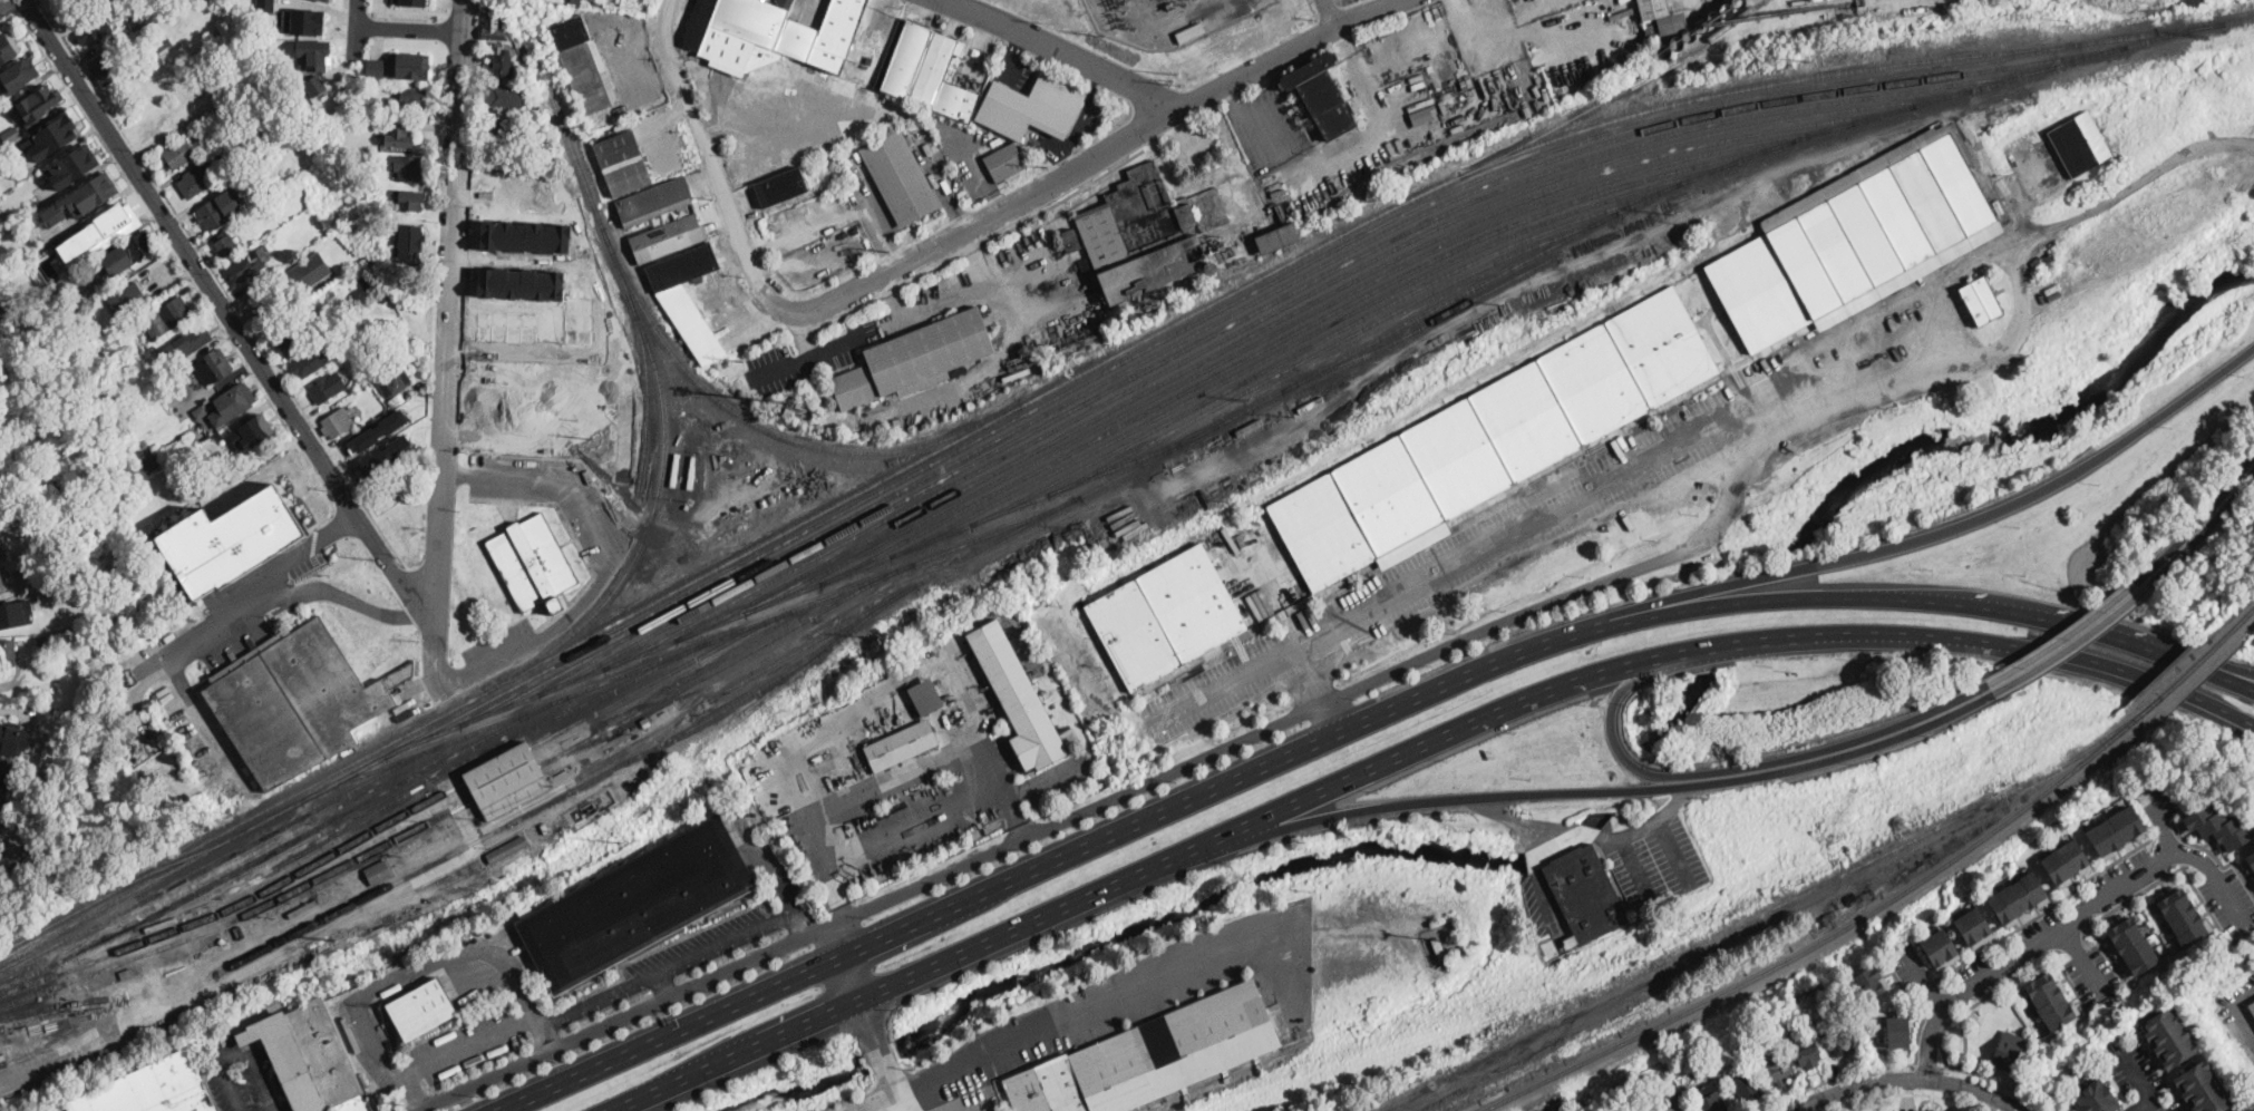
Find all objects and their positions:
road: (38, 0)
building: (328, 0)
building: (101, 1)
building: (411, 1)
building: (576, 1)
building: (600, 1)
building: (784, 3)
road: (8, 4)
building: (265, 4)
road: (14, 6)
road: (28, 7)
building: (89, 10)
road: (1313, 10)
building: (1856, 11)
road: (1332, 12)
road: (401, 13)
building: (80, 14)
road: (9, 19)
building: (138, 20)
building: (303, 21)
building: (698, 22)
building: (1678, 22)
building: (494, 27)
road: (354, 28)
road: (410, 28)
building: (95, 30)
building: (1189, 32)
building: (836, 33)
building: (742, 35)
building: (796, 38)
building: (166, 43)
building: (7, 49)
building: (314, 53)
road: (1011, 55)
building: (906, 58)
building: (502, 62)
building: (198, 64)
building: (409, 65)
building: (109, 66)
building: (584, 66)
building: (377, 67)
building: (934, 67)
building: (18, 74)
building: (315, 84)
building: (372, 86)
building: (348, 88)
railway: (1623, 92)
building: (275, 95)
building: (1321, 95)
building: (503, 97)
building: (410, 99)
building: (956, 100)
building: (39, 103)
building: (1031, 106)
road: (1170, 107)
building: (304, 113)
building: (346, 118)
road: (1241, 119)
road: (1379, 121)
building: (235, 127)
building: (290, 128)
building: (502, 130)
building: (313, 133)
building: (260, 135)
building: (11, 136)
building: (51, 136)
building: (398, 136)
building: (2080, 144)
road: (701, 146)
building: (1875, 148)
building: (179, 154)
building: (237, 159)
building: (1005, 162)
building: (623, 164)
building: (74, 165)
building: (410, 167)
road: (980, 168)
building: (18, 173)
building: (900, 177)
building: (194, 183)
building: (785, 185)
building: (1782, 191)
building: (81, 198)
building: (410, 199)
building: (653, 203)
building: (221, 206)
road: (154, 222)
road: (970, 224)
road: (876, 228)
road: (805, 231)
building: (100, 232)
building: (1146, 234)
building: (1279, 237)
building: (667, 238)
building: (410, 240)
building: (1070, 240)
building: (1856, 241)
building: (226, 245)
building: (128, 252)
building: (2050, 257)
road: (944, 261)
building: (245, 267)
building: (308, 273)
building: (368, 280)
road: (1946, 283)
road: (222, 284)
road: (999, 290)
building: (86, 294)
building: (688, 299)
building: (128, 300)
building: (1982, 301)
railway: (1254, 303)
road: (925, 309)
railway: (1256, 312)
road: (230, 314)
railway: (1447, 314)
building: (167, 318)
railway: (1418, 321)
building: (319, 322)
railway: (1267, 328)
railway: (1244, 330)
road: (800, 331)
railway: (1282, 331)
building: (385, 334)
building: (410, 334)
building: (286, 335)
railway: (1291, 337)
road: (448, 341)
railway: (1300, 343)
building: (185, 345)
railway: (1313, 345)
railway: (1322, 352)
road: (806, 355)
building: (915, 359)
building: (309, 361)
building: (212, 367)
railway: (1087, 373)
building: (394, 382)
building: (167, 386)
building: (327, 386)
railway: (648, 391)
building: (93, 398)
building: (396, 399)
railway: (663, 400)
building: (234, 401)
building: (1311, 403)
building: (801, 406)
building: (201, 412)
building: (789, 412)
building: (105, 422)
building: (338, 422)
building: (897, 422)
building: (1250, 426)
building: (865, 427)
railway: (1004, 427)
building: (255, 429)
railway: (769, 429)
building: (378, 430)
building: (224, 431)
building: (126, 432)
building: (1494, 439)
building: (117, 446)
building: (382, 454)
building: (146, 462)
building: (410, 464)
building: (676, 469)
building: (691, 472)
building: (381, 491)
parking lot: (555, 497)
building: (686, 507)
road: (2198, 523)
road: (2209, 526)
road: (1931, 537)
building: (231, 539)
parking lot: (1454, 558)
road: (610, 561)
building: (533, 563)
road: (1448, 565)
road: (1611, 578)
building: (2, 585)
road: (235, 591)
railway: (799, 593)
building: (16, 613)
building: (1166, 617)
railway: (2242, 618)
railway: (797, 626)
road: (2082, 640)
building: (46, 641)
road: (2061, 642)
railway: (812, 645)
parking lot: (502, 647)
railway: (720, 647)
building: (8, 652)
road: (1526, 656)
road: (2187, 657)
railway: (2178, 680)
road: (1317, 693)
building: (925, 695)
building: (1018, 698)
building: (297, 701)
road: (1508, 712)
railway: (2136, 717)
road: (2227, 717)
railway: (507, 721)
building: (647, 722)
road: (2227, 722)
building: (3, 733)
railway: (509, 742)
building: (901, 747)
railway: (498, 767)
road: (148, 768)
road: (1729, 770)
road: (901, 773)
parking lot: (1058, 776)
road: (1046, 778)
building: (507, 780)
building: (4, 781)
railway: (505, 787)
building: (61, 789)
road: (1605, 791)
railway: (537, 810)
building: (42, 815)
building: (0, 819)
road: (1516, 821)
road: (2160, 822)
road: (1644, 825)
building: (2217, 826)
building: (454, 828)
building: (544, 829)
building: (2117, 830)
road: (1572, 838)
building: (507, 849)
road: (1673, 850)
railway: (279, 851)
parking lot: (1654, 860)
building: (2248, 860)
road: (75, 861)
railway: (183, 861)
railway: (220, 861)
building: (2066, 861)
road: (1638, 865)
building: (379, 873)
road: (1543, 885)
building: (1586, 894)
road: (2131, 896)
building: (2018, 897)
building: (637, 905)
road: (2205, 905)
road: (2048, 907)
railway: (237, 909)
parking lot: (1546, 914)
building: (2183, 915)
railway: (1752, 917)
railway: (239, 922)
road: (2070, 922)
road: (800, 923)
building: (162, 925)
building: (1974, 926)
road: (817, 932)
building: (239, 933)
road: (2072, 941)
building: (221, 942)
road: (835, 944)
railway: (1820, 944)
building: (2132, 945)
building: (1438, 948)
building: (1941, 948)
road: (702, 949)
road: (2106, 949)
parking lot: (676, 958)
road: (2083, 961)
road: (418, 965)
building: (127, 974)
road: (1920, 978)
building: (1869, 981)
road: (852, 982)
road: (1926, 983)
road: (664, 984)
road: (1981, 996)
building: (2051, 998)
parking lot: (1135, 1002)
road: (2241, 1004)
building: (2251, 1004)
building: (422, 1008)
railway: (55, 1010)
road: (1077, 1011)
parking lot: (2238, 1011)
road: (1920, 1022)
road: (614, 1023)
building: (1897, 1031)
building: (1835, 1034)
building: (2169, 1035)
road: (676, 1036)
railway: (1440, 1037)
road: (469, 1042)
parking lot: (467, 1043)
building: (2008, 1049)
building: (1807, 1051)
road: (239, 1052)
building: (1152, 1055)
road: (738, 1056)
building: (307, 1058)
road: (1924, 1065)
building: (1776, 1068)
road: (893, 1071)
building: (1701, 1071)
building: (1720, 1076)
road: (1838, 1076)
parking lot: (2139, 1076)
parking lot: (242, 1078)
road: (1910, 1080)
road: (1995, 1080)
road: (2141, 1081)
road: (2115, 1084)
building: (1746, 1086)
building: (2203, 1086)
building: (149, 1088)
building: (1619, 1089)
road: (1908, 1092)
building: (2096, 1097)
road: (905, 1098)
building: (1711, 1099)
railway: (1163, 1102)
road: (2143, 1104)
building: (1657, 1108)
road: (2129, 1108)
building: (1931, 1109)
parking lot: (60, 1110)
building: (1683, 1110)

